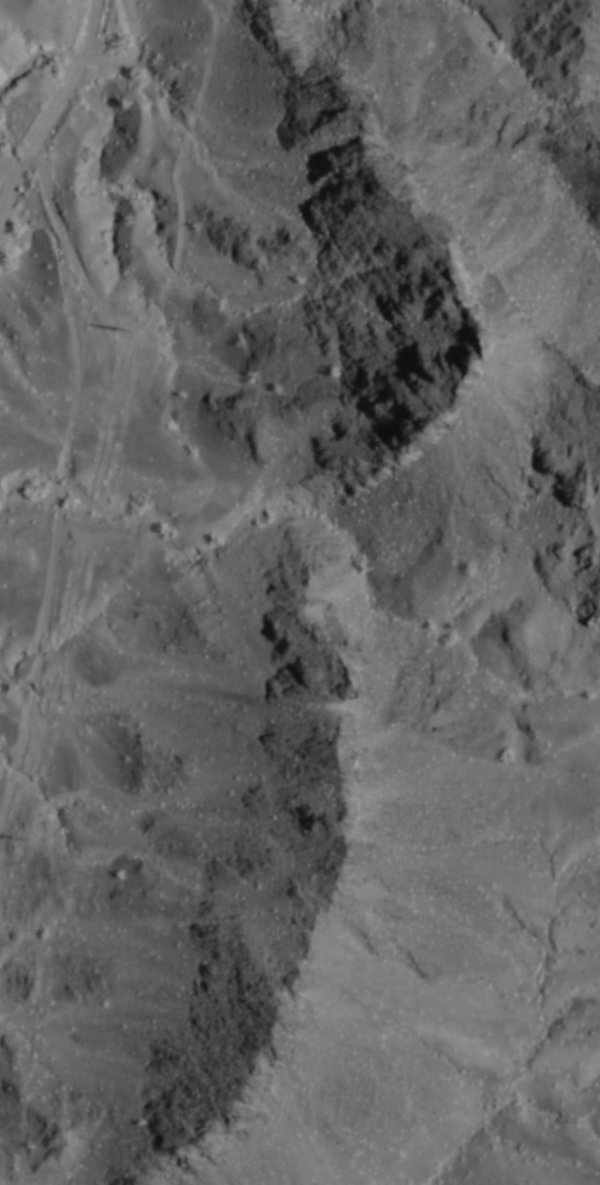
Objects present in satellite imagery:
power tower: (135, 330)
power tower: (17, 835)

